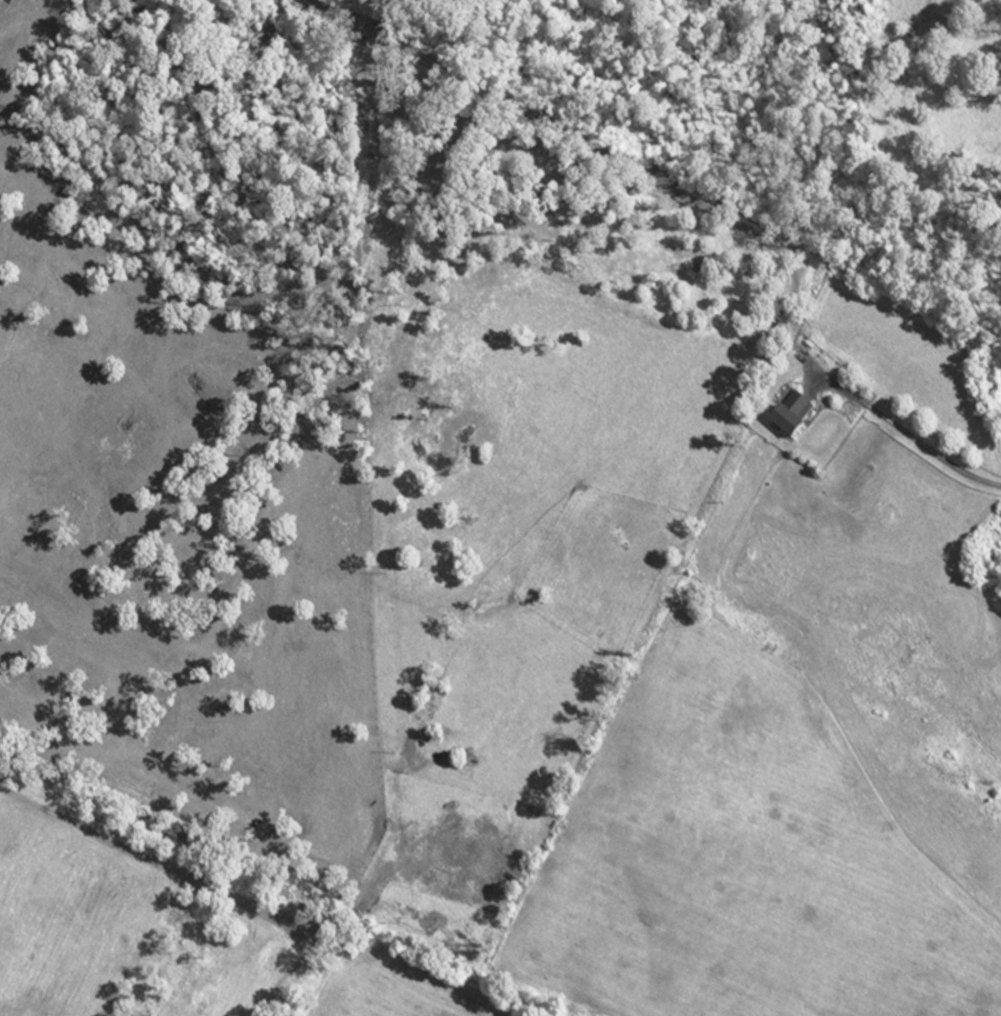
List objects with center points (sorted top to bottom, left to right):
building: (788, 416)
road: (930, 452)

